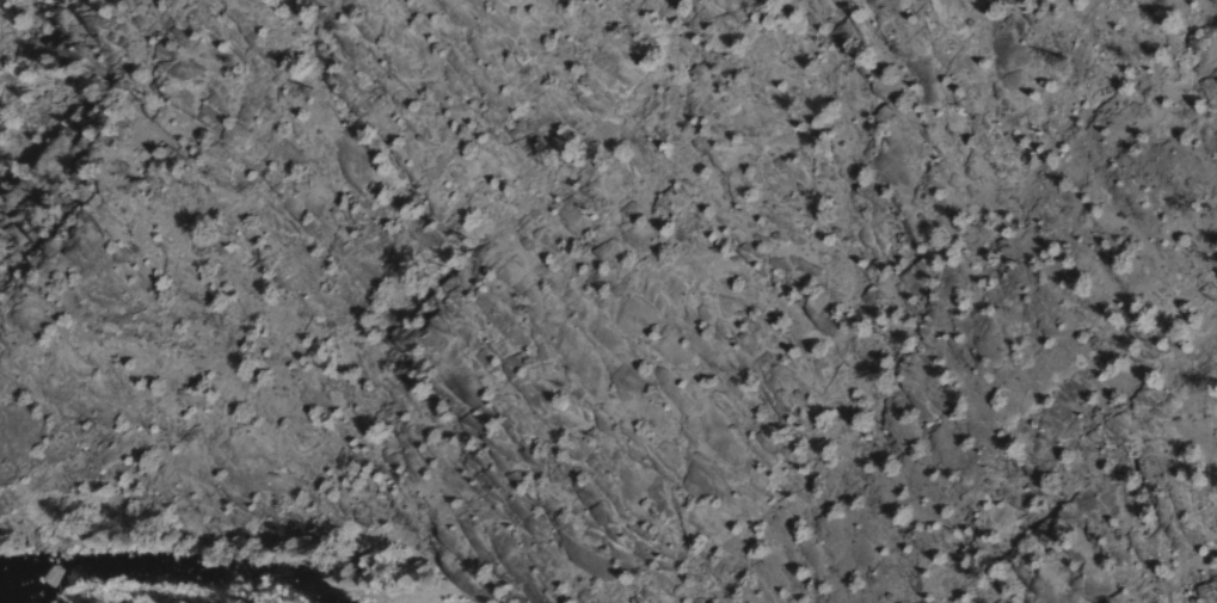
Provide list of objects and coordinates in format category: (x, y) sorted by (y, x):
river: (164, 533)
river: (391, 576)

